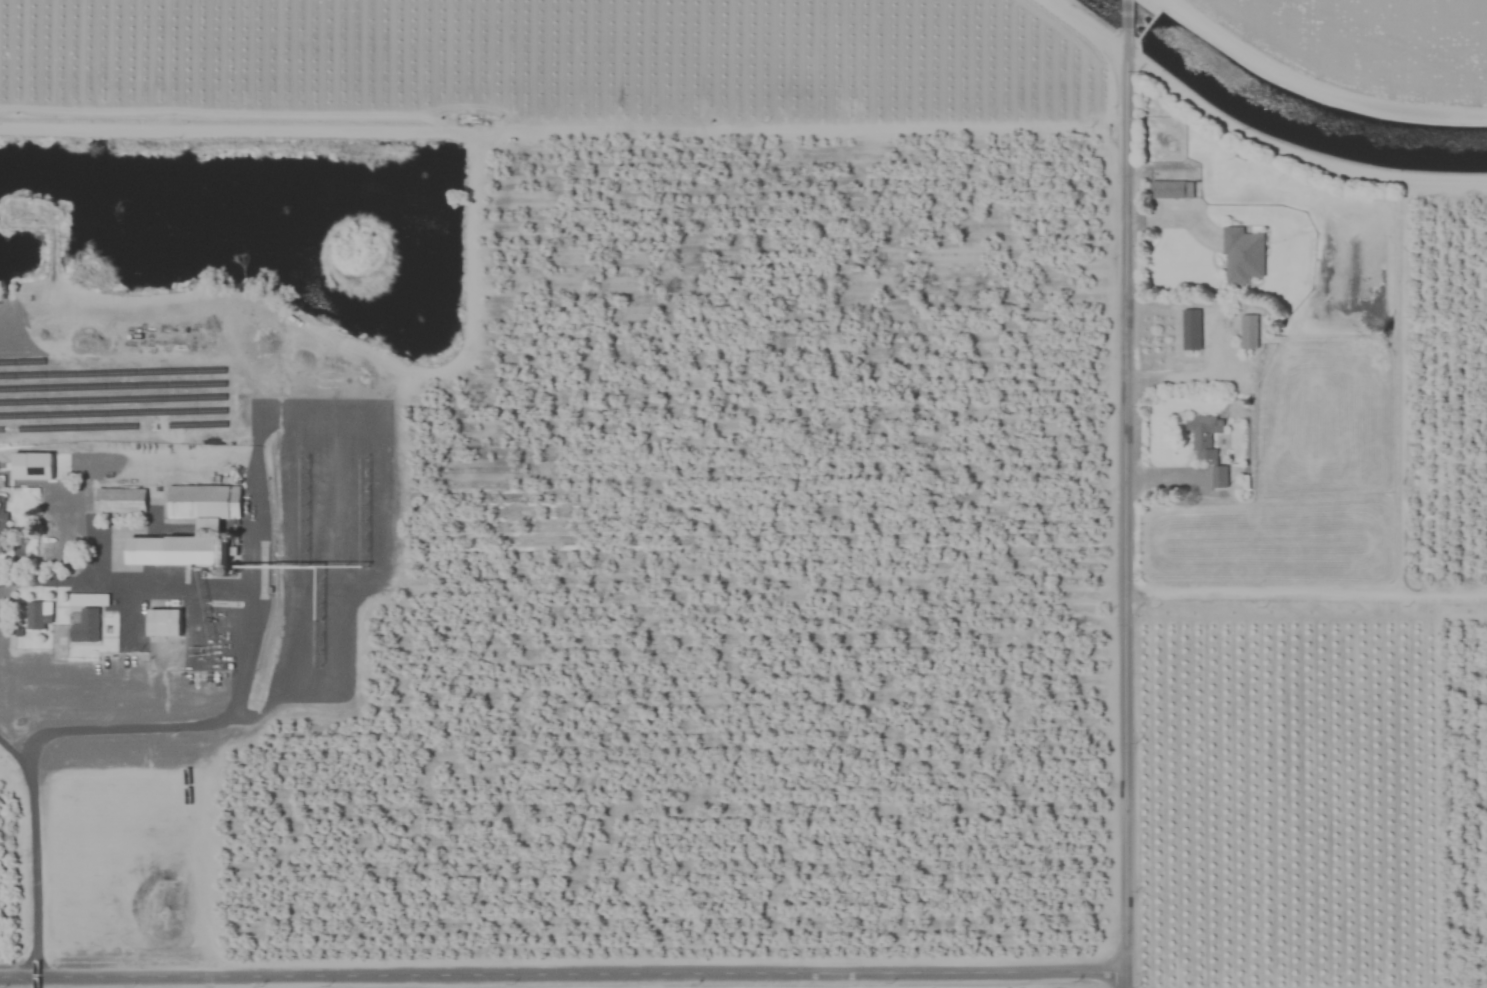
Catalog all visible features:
road: (1125, 16)
building: (1172, 189)
building: (1242, 256)
building: (1191, 330)
building: (1248, 332)
road: (1183, 382)
building: (1203, 436)
building: (1219, 477)
road: (253, 494)
building: (120, 500)
road: (1127, 510)
building: (2, 520)
building: (209, 528)
road: (1307, 590)
building: (38, 615)
building: (164, 622)
road: (242, 644)
road: (16, 752)
road: (33, 874)
road: (562, 975)

